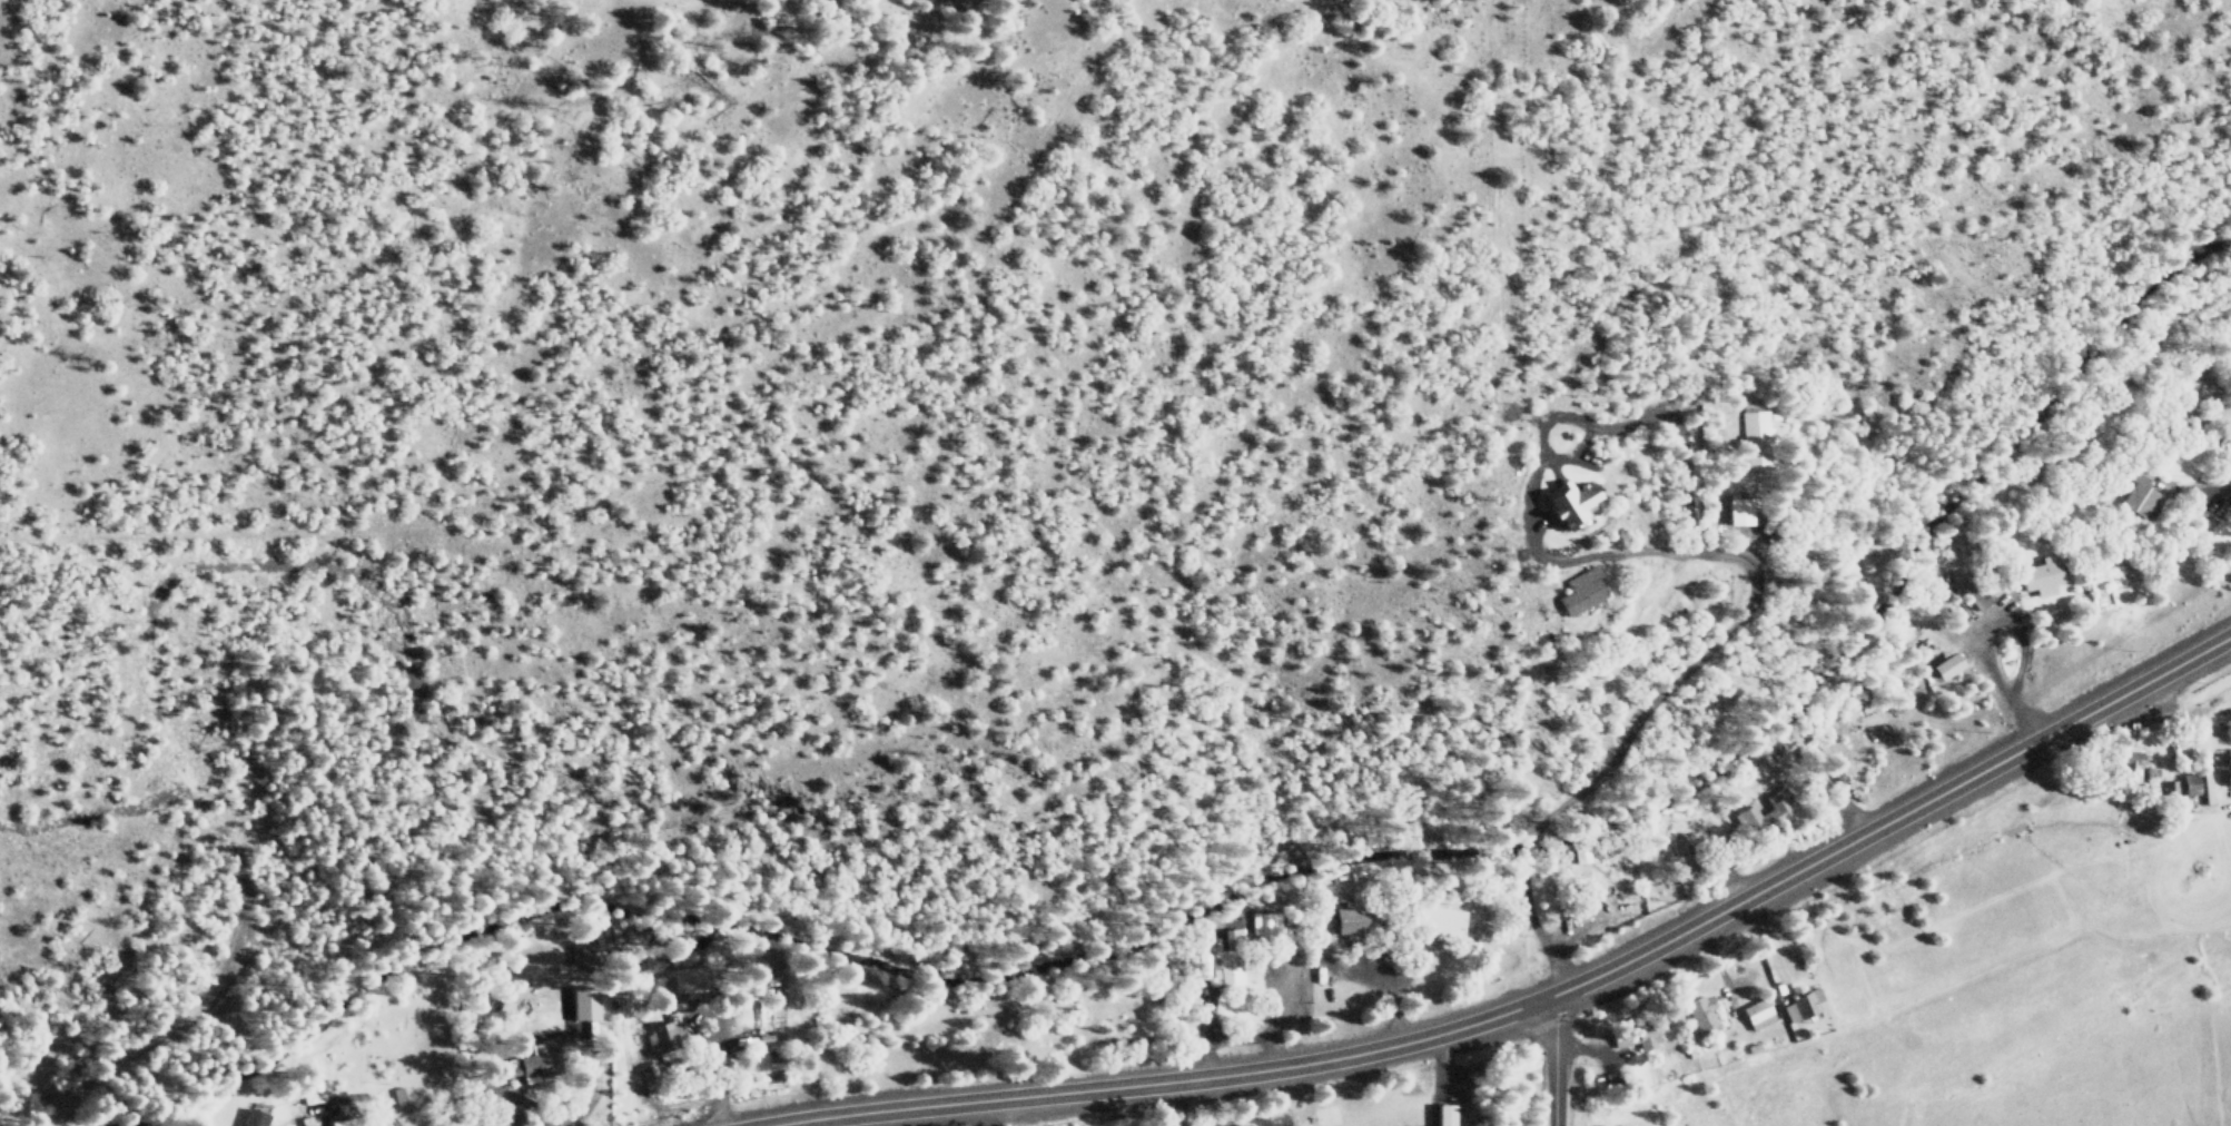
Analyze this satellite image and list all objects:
building: (2195, 413)
building: (1756, 434)
building: (2140, 492)
building: (1574, 502)
building: (1739, 510)
building: (2036, 576)
building: (1580, 589)
building: (1971, 590)
building: (1949, 666)
building: (2133, 760)
building: (2228, 766)
building: (2129, 767)
building: (2181, 786)
building: (1767, 811)
building: (1691, 848)
building: (1580, 853)
building: (1352, 917)
building: (1442, 919)
building: (1265, 922)
building: (586, 954)
building: (1230, 962)
building: (695, 978)
road: (1537, 1000)
building: (586, 1002)
building: (1800, 1004)
building: (1757, 1013)
building: (1701, 1014)
building: (664, 1037)
building: (1637, 1037)
building: (540, 1061)
road: (1556, 1061)
building: (1444, 1113)
building: (255, 1117)
building: (349, 1120)
building: (1242, 1125)

